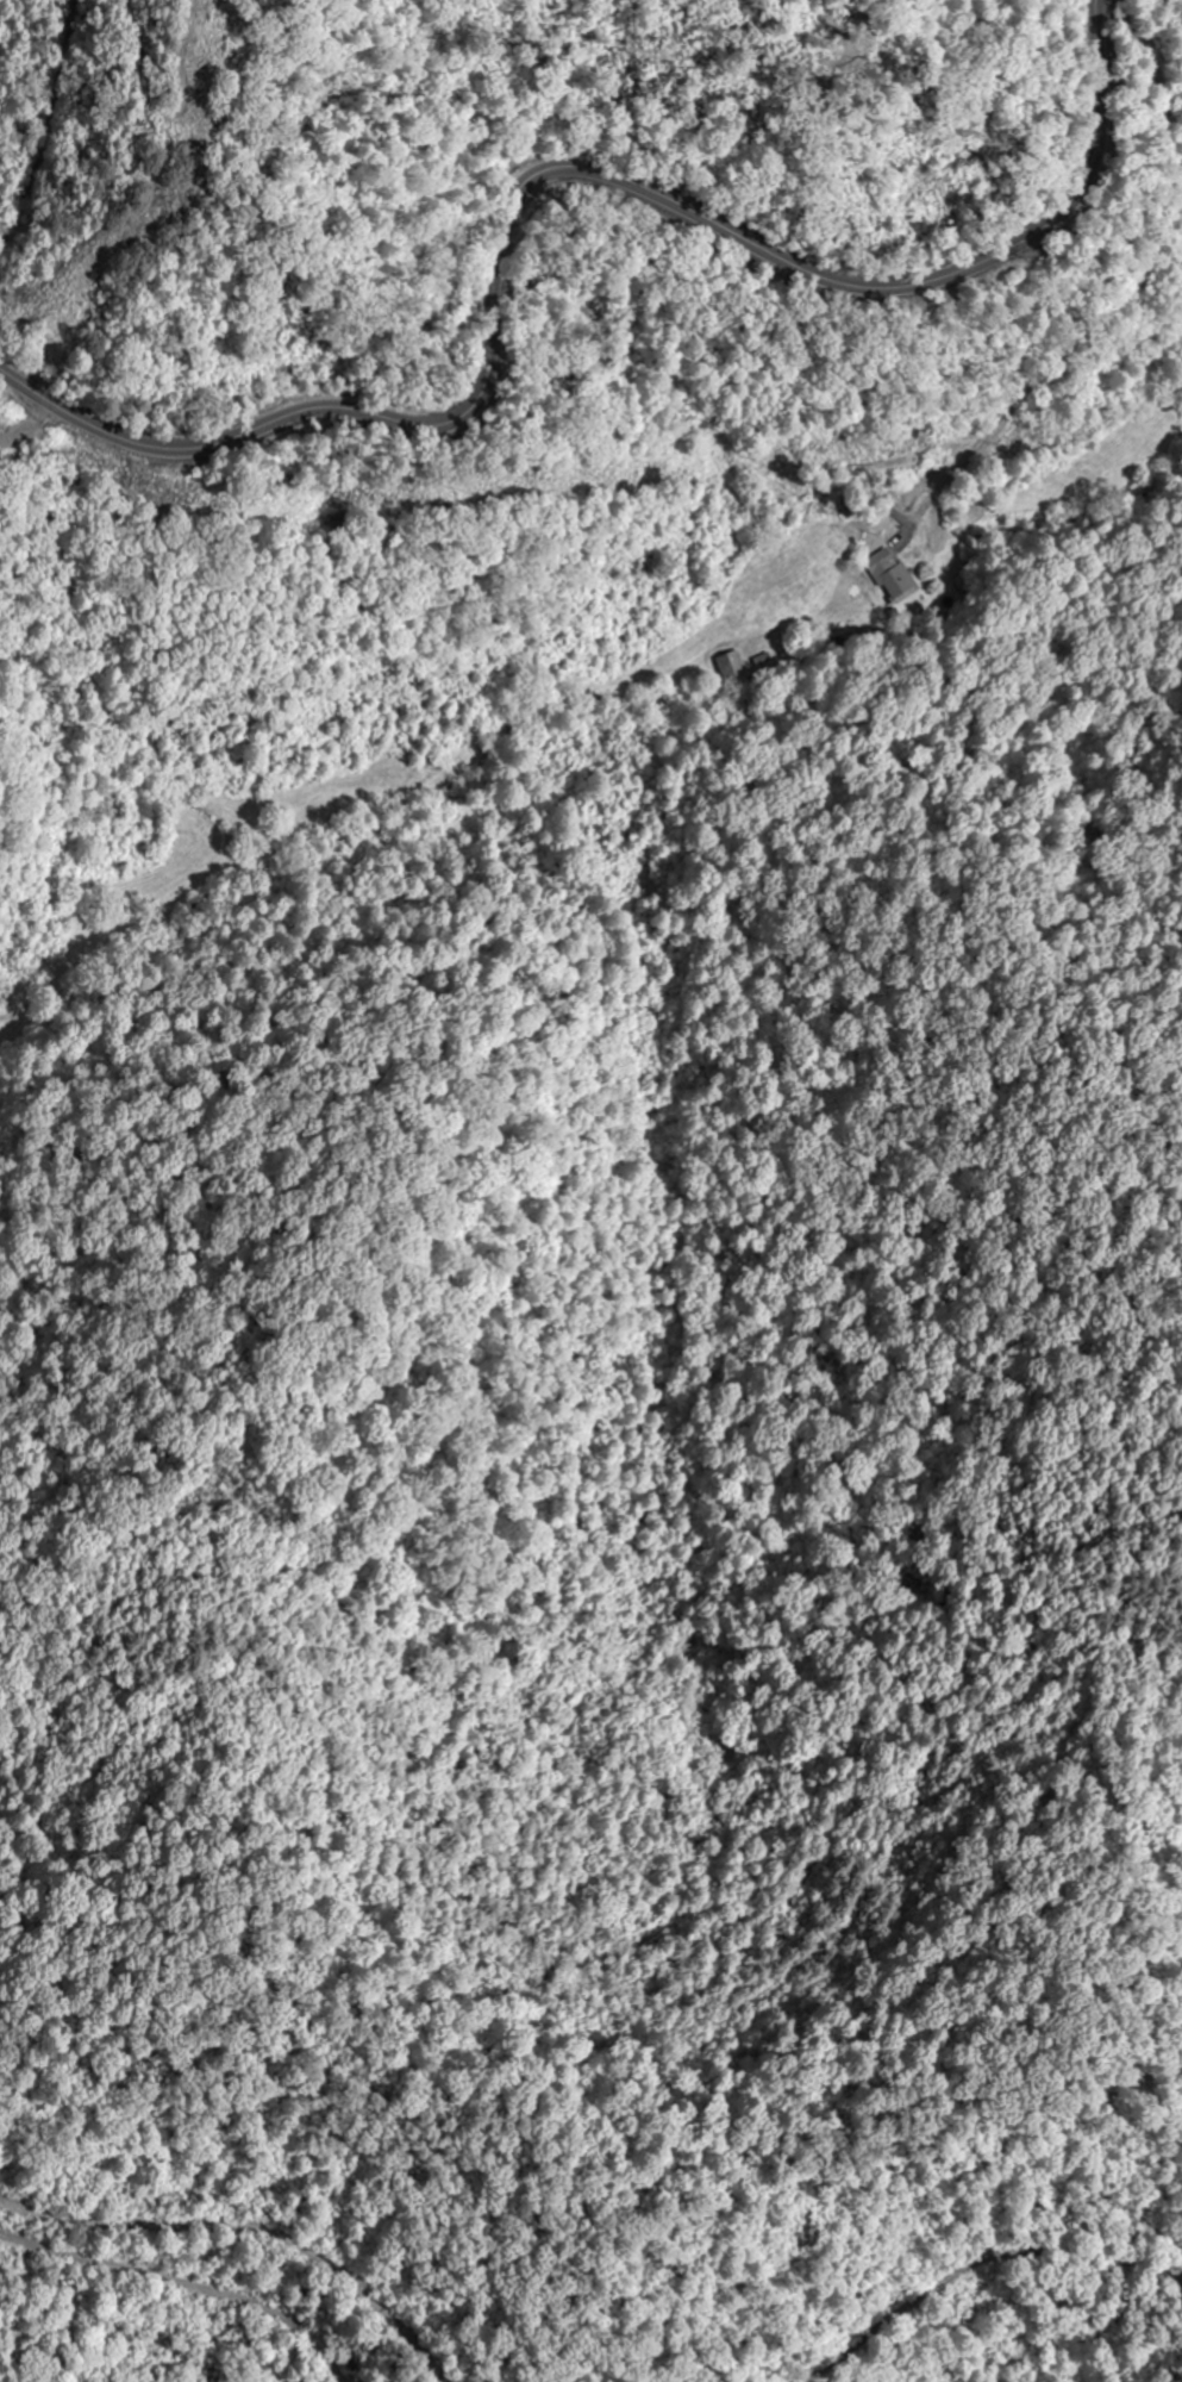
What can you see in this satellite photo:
road: (208, 131)
road: (557, 170)
road: (77, 195)
building: (893, 576)
building: (731, 666)

